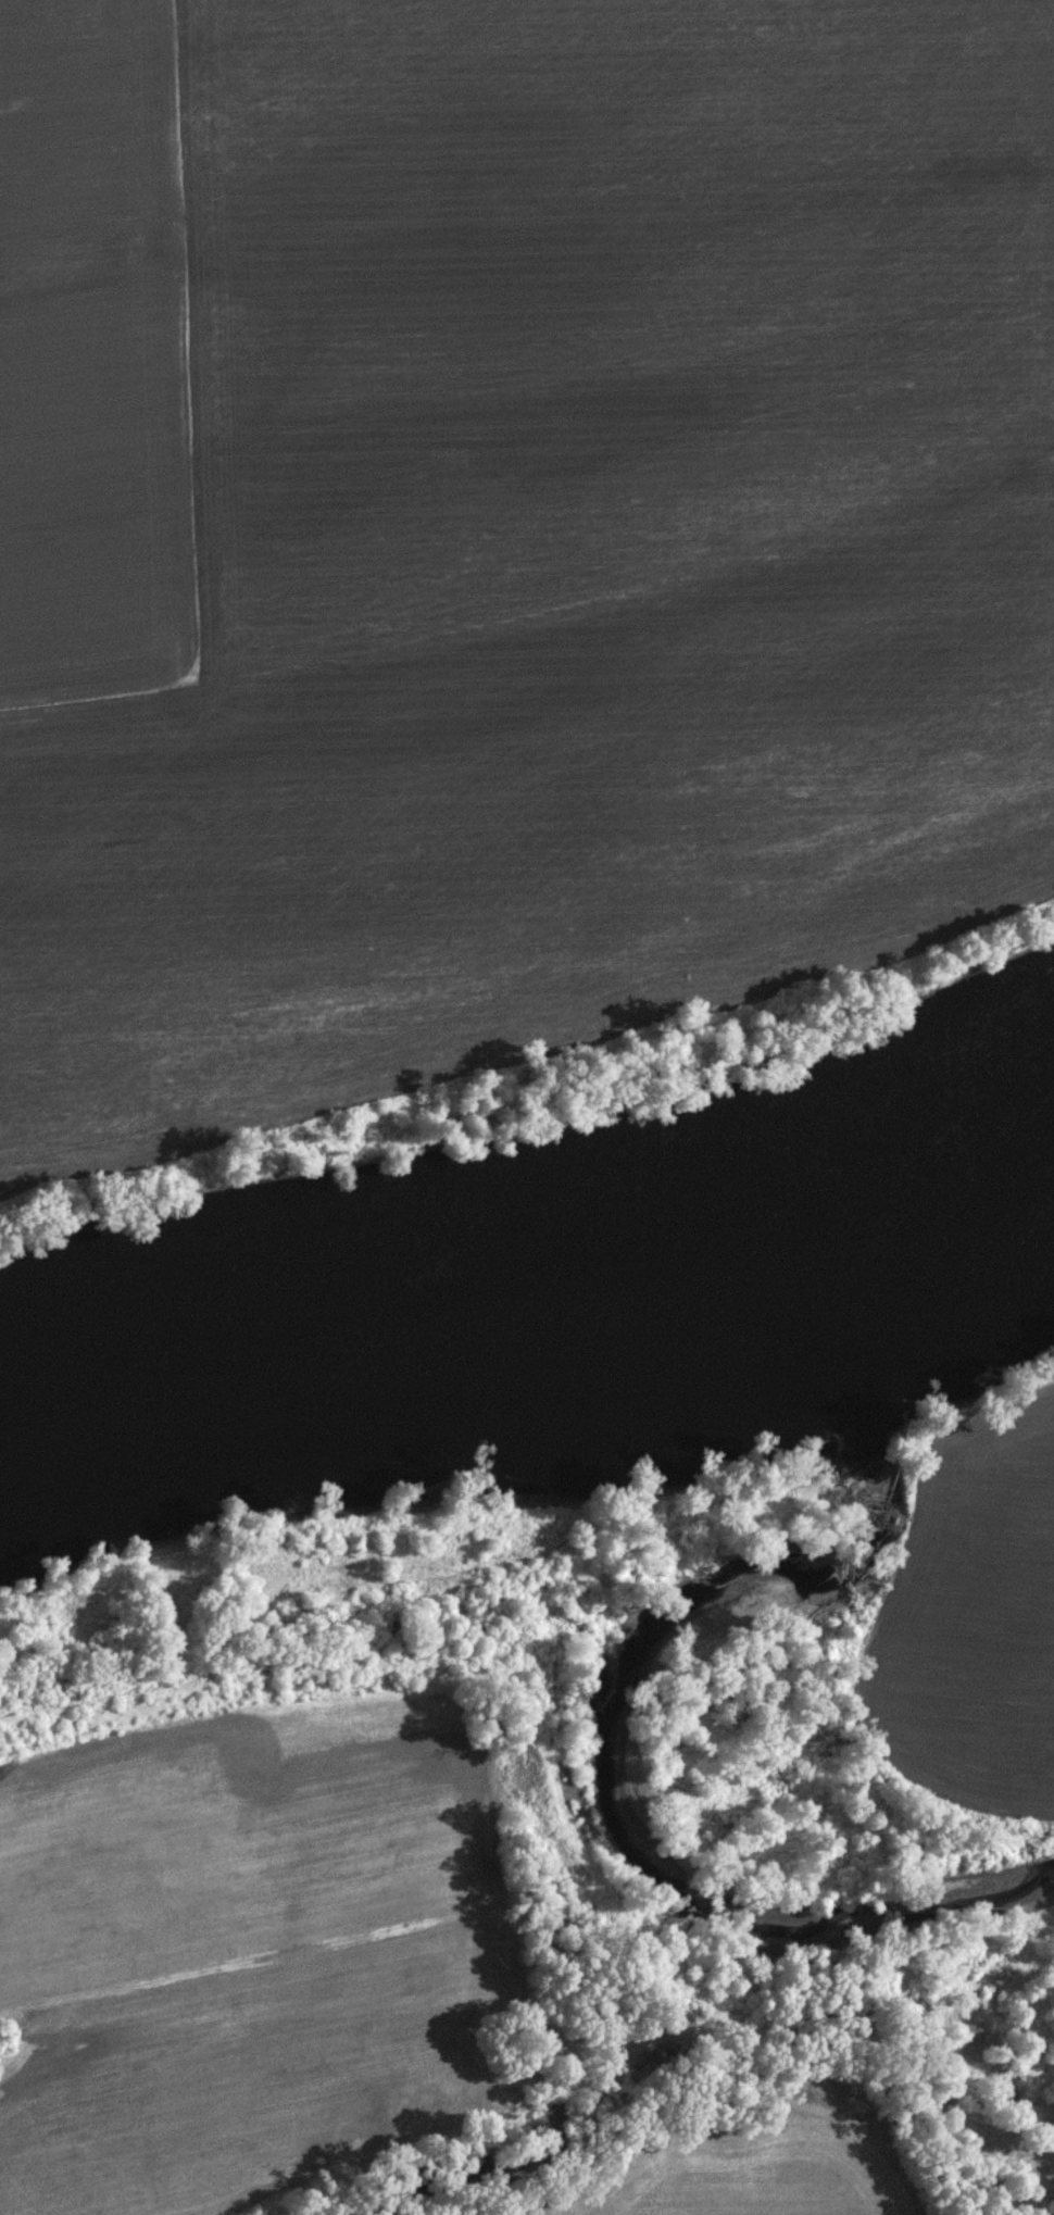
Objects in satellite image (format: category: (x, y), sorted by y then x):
river: (535, 1302)

